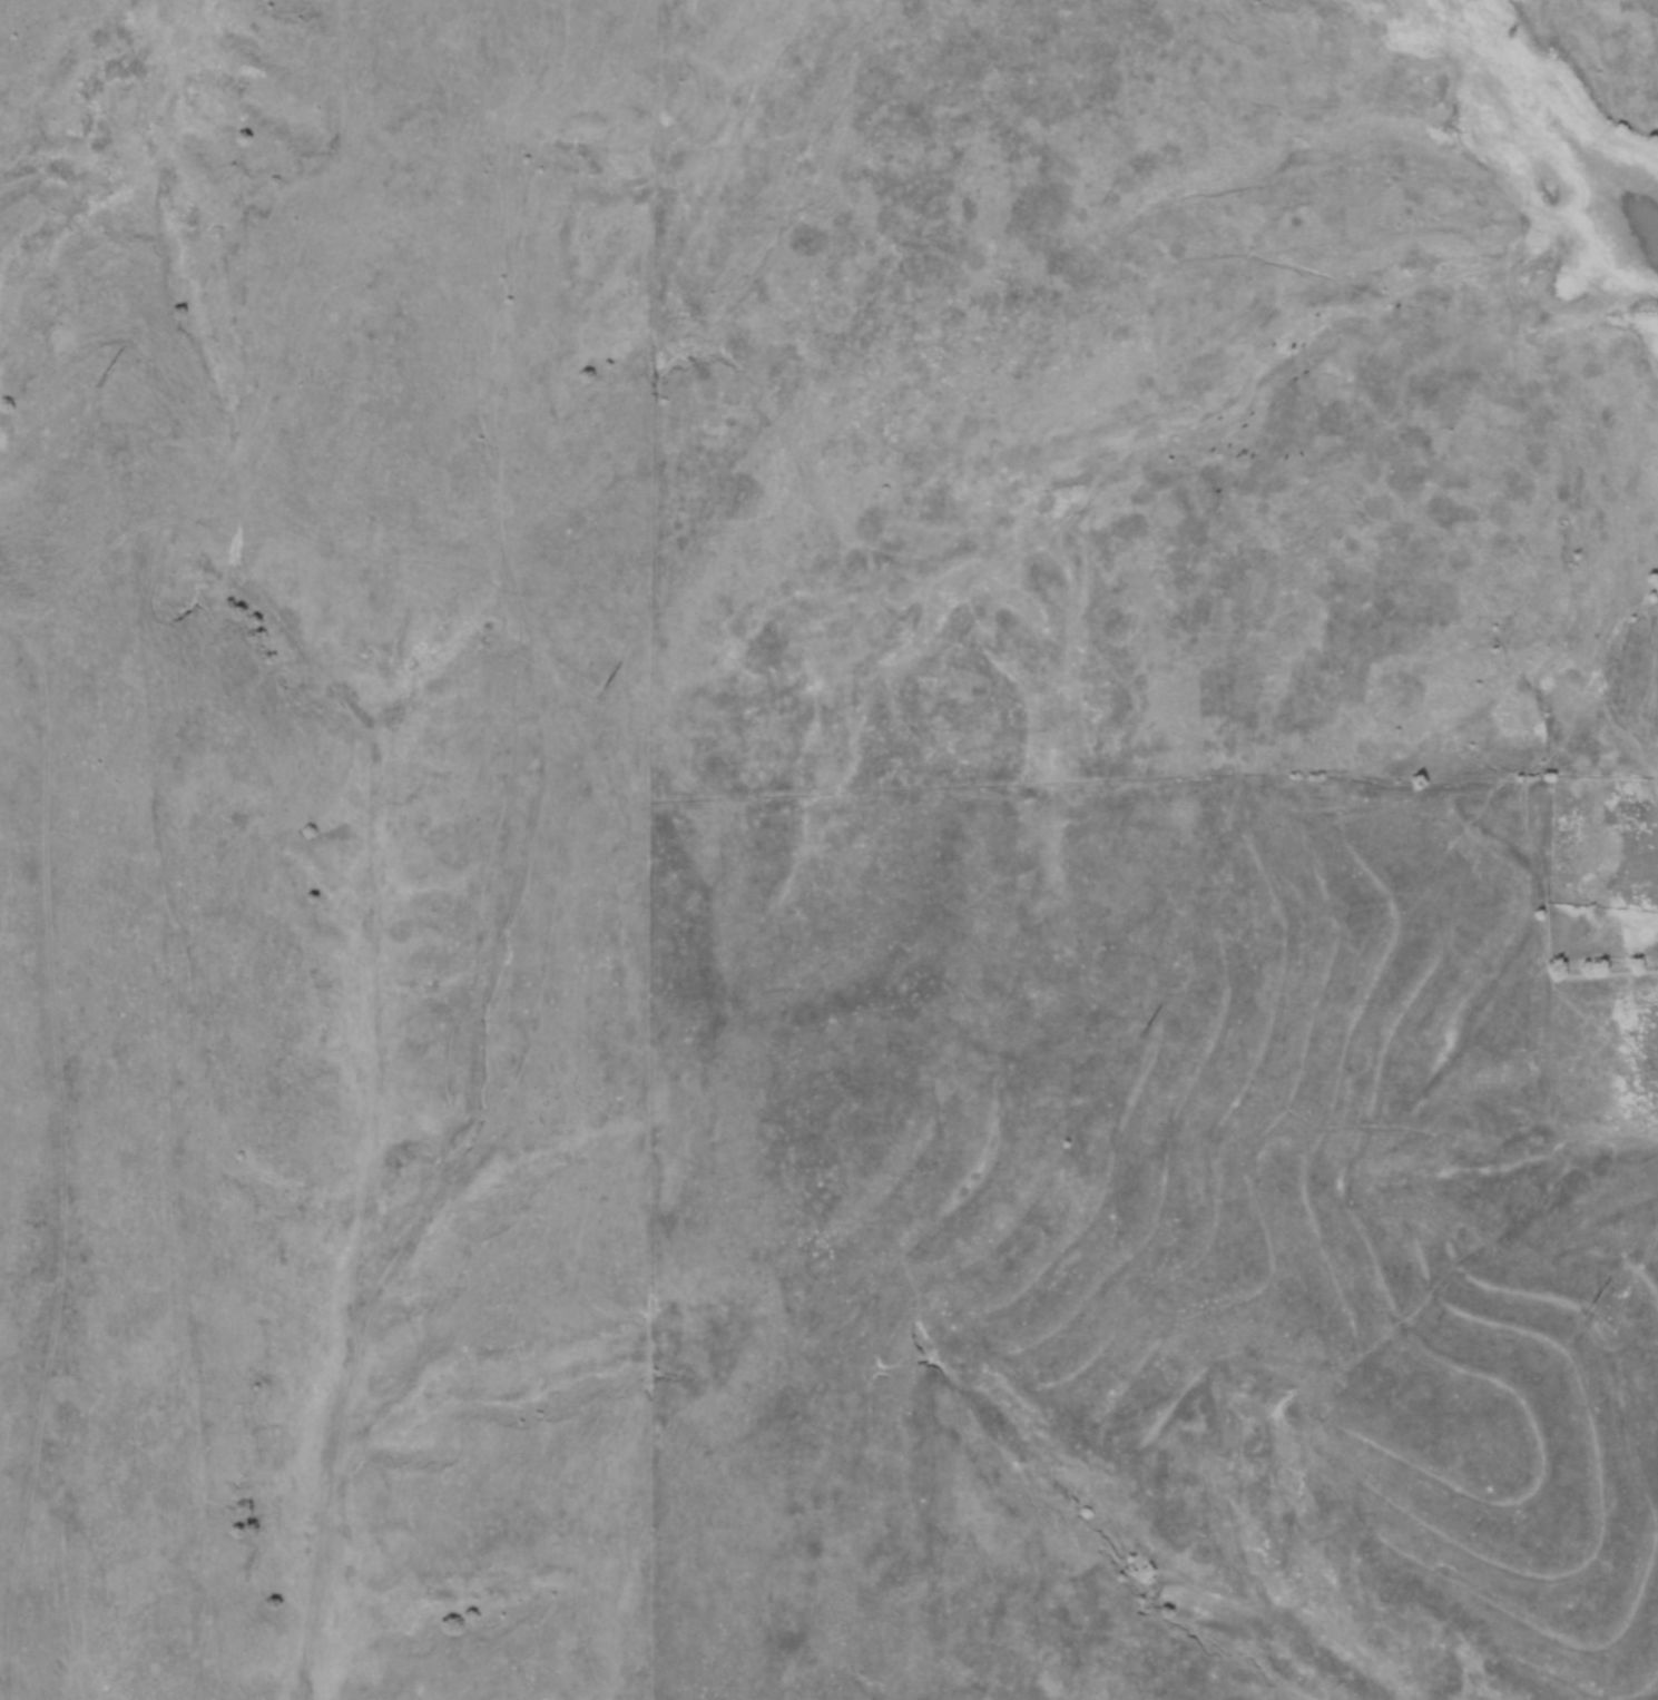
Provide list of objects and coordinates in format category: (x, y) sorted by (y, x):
power tower: (97, 382)
power tower: (597, 694)
power tower: (1140, 1032)
power tower: (1585, 1308)

